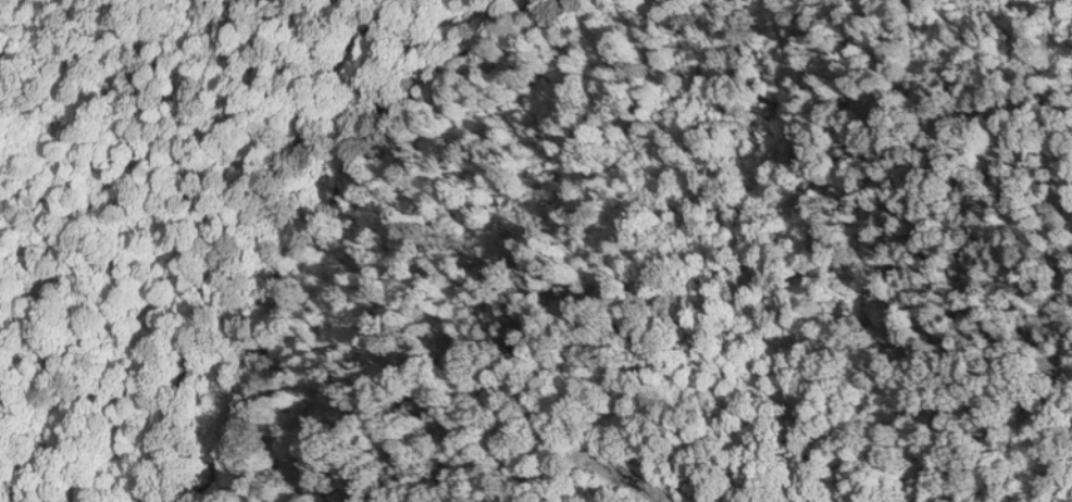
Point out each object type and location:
road: (246, 238)
road: (13, 449)

